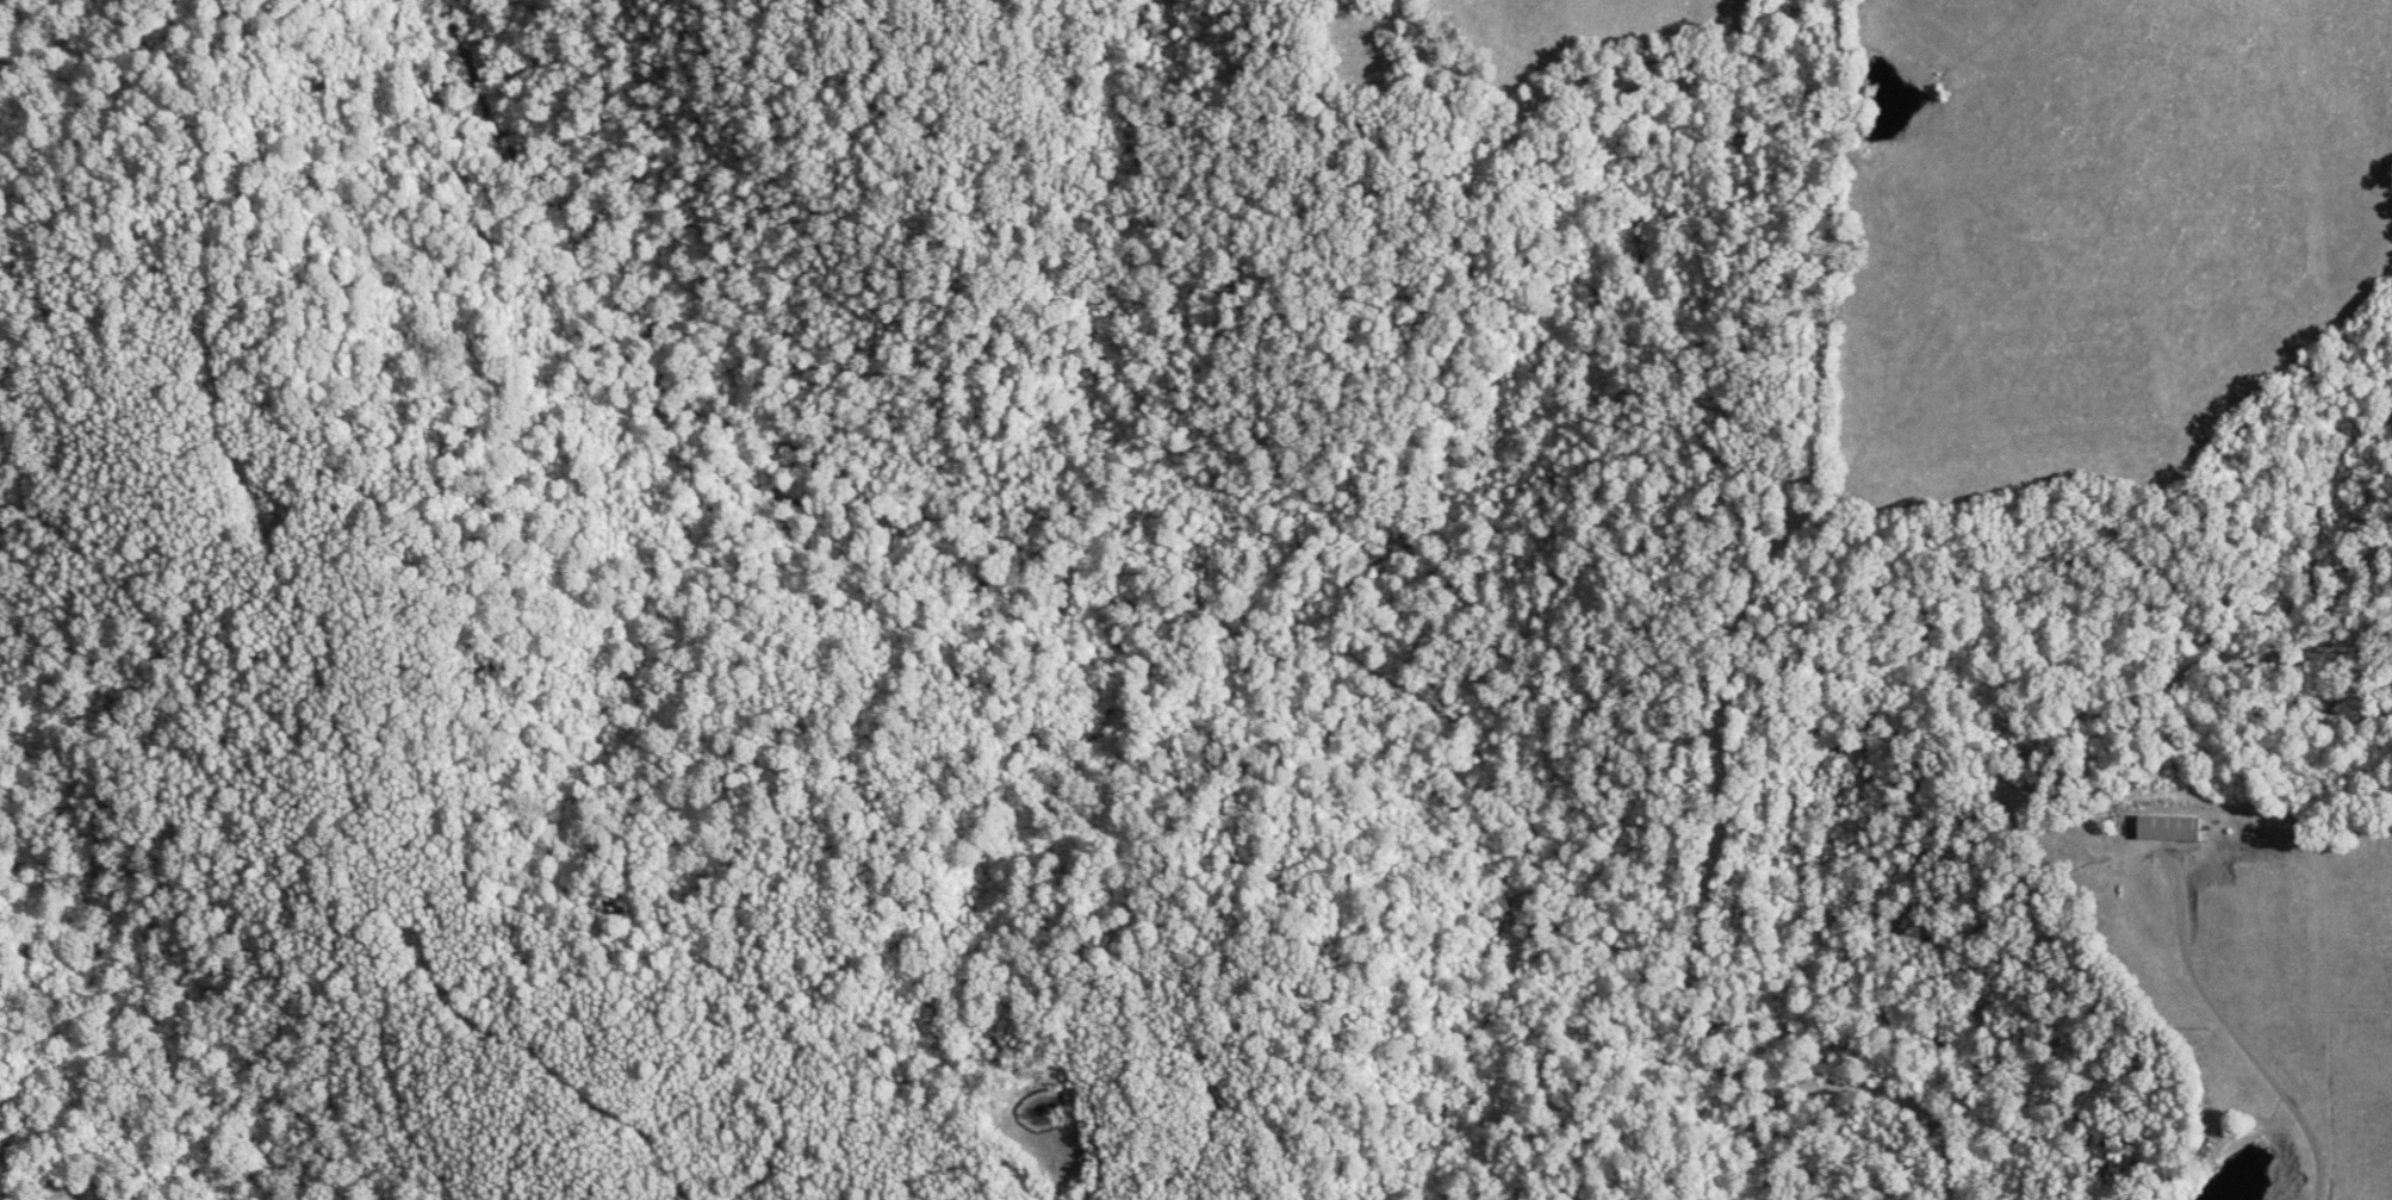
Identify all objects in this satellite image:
building: (2163, 829)

